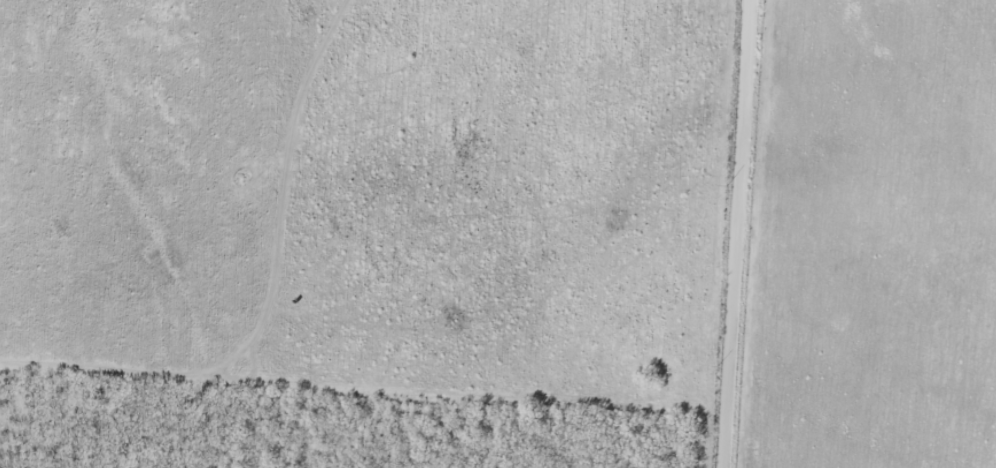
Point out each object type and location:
road: (744, 234)

